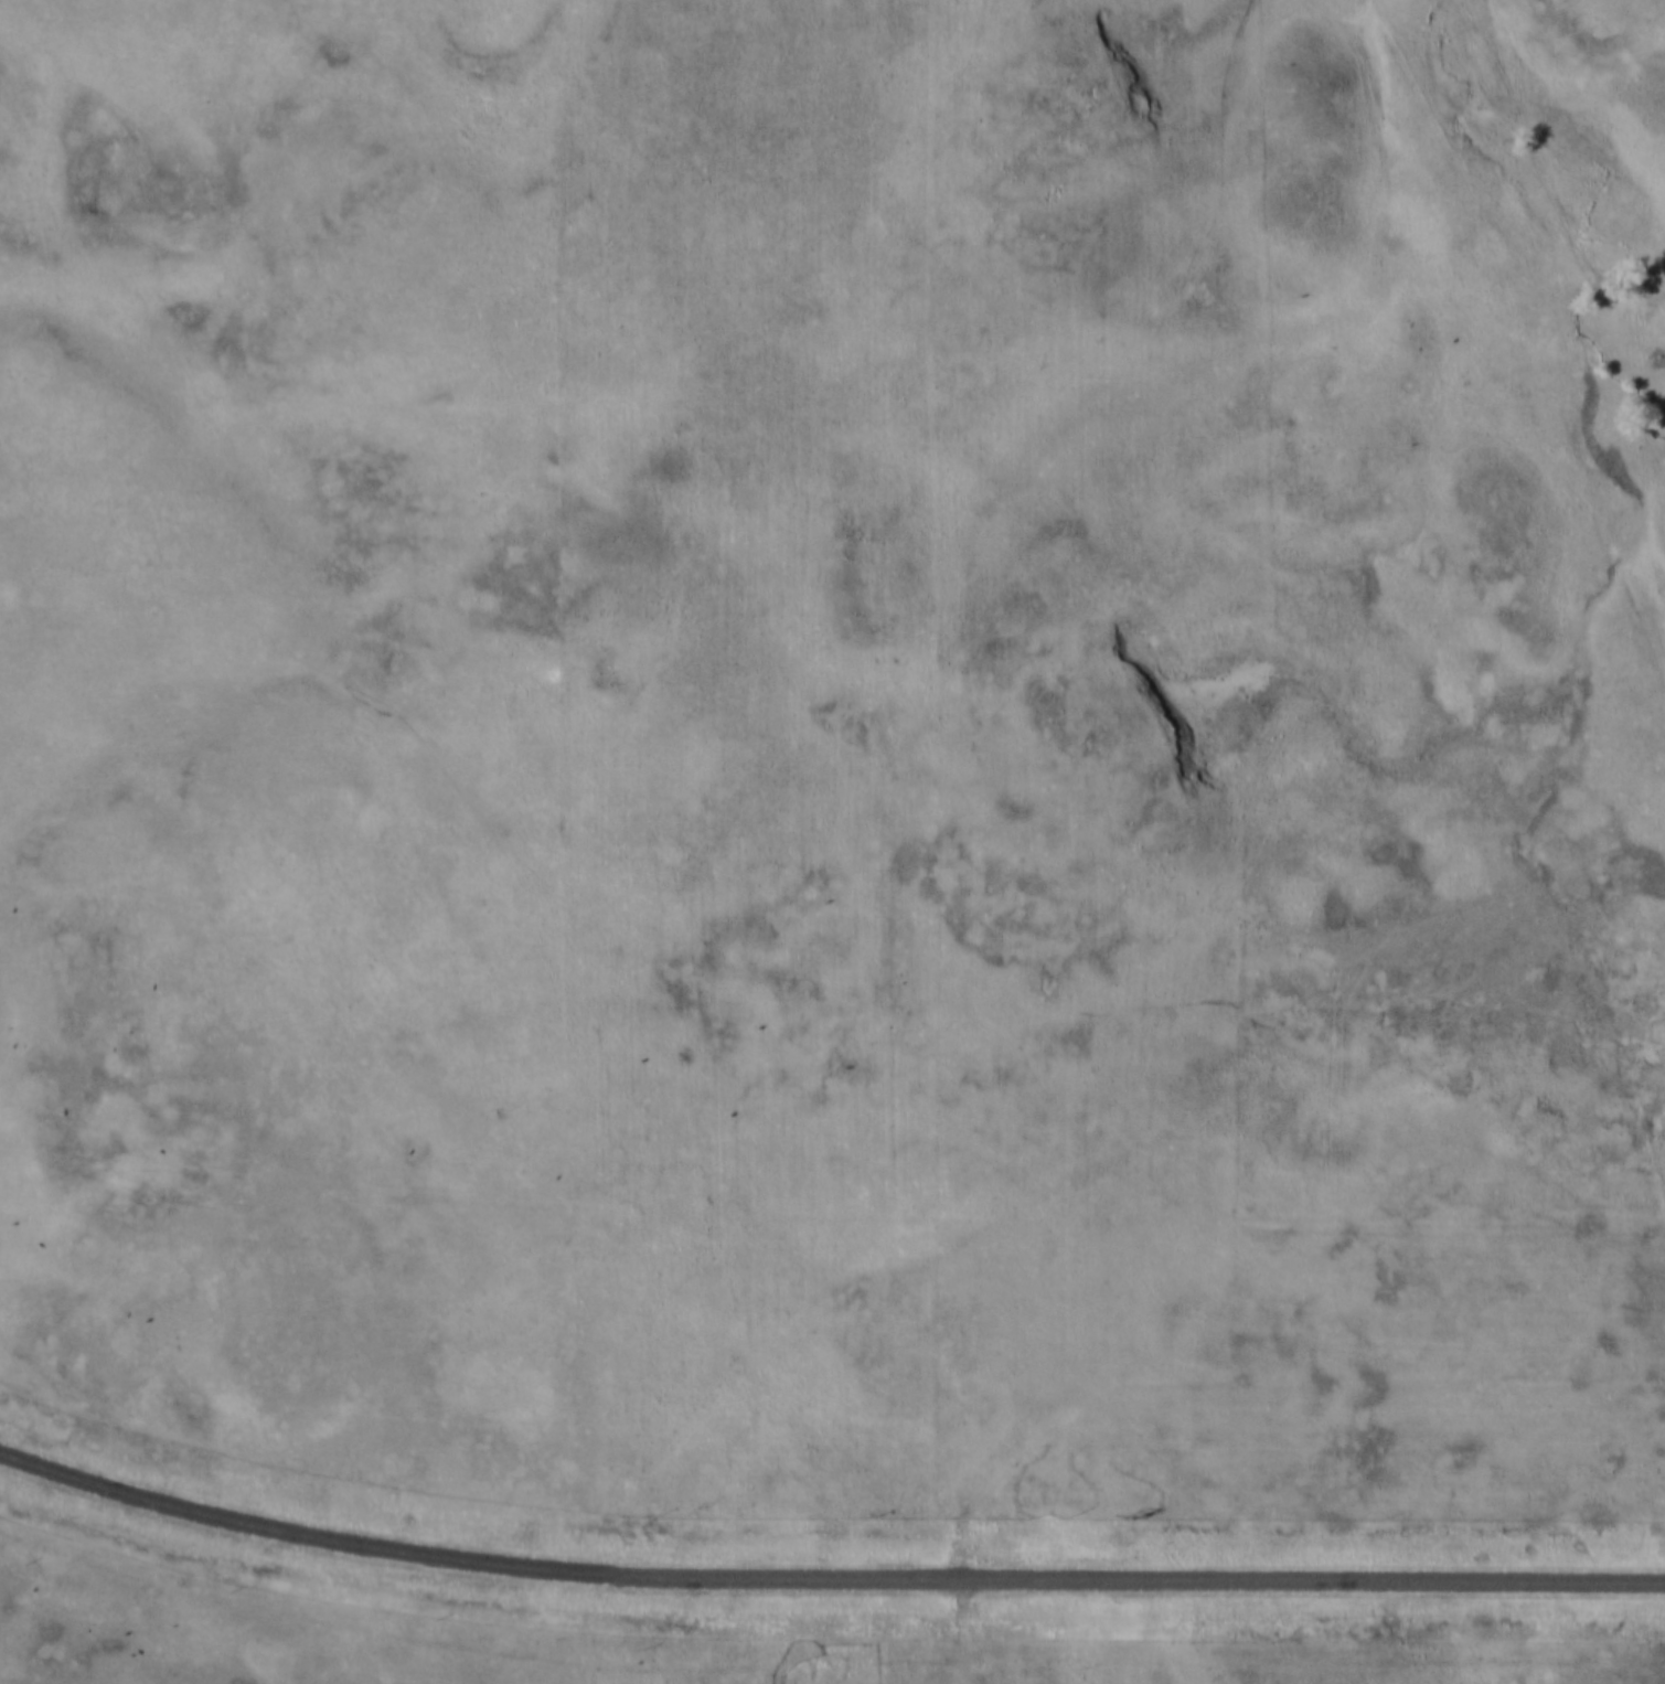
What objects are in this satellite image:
road: (825, 1581)
road: (520, 1654)

